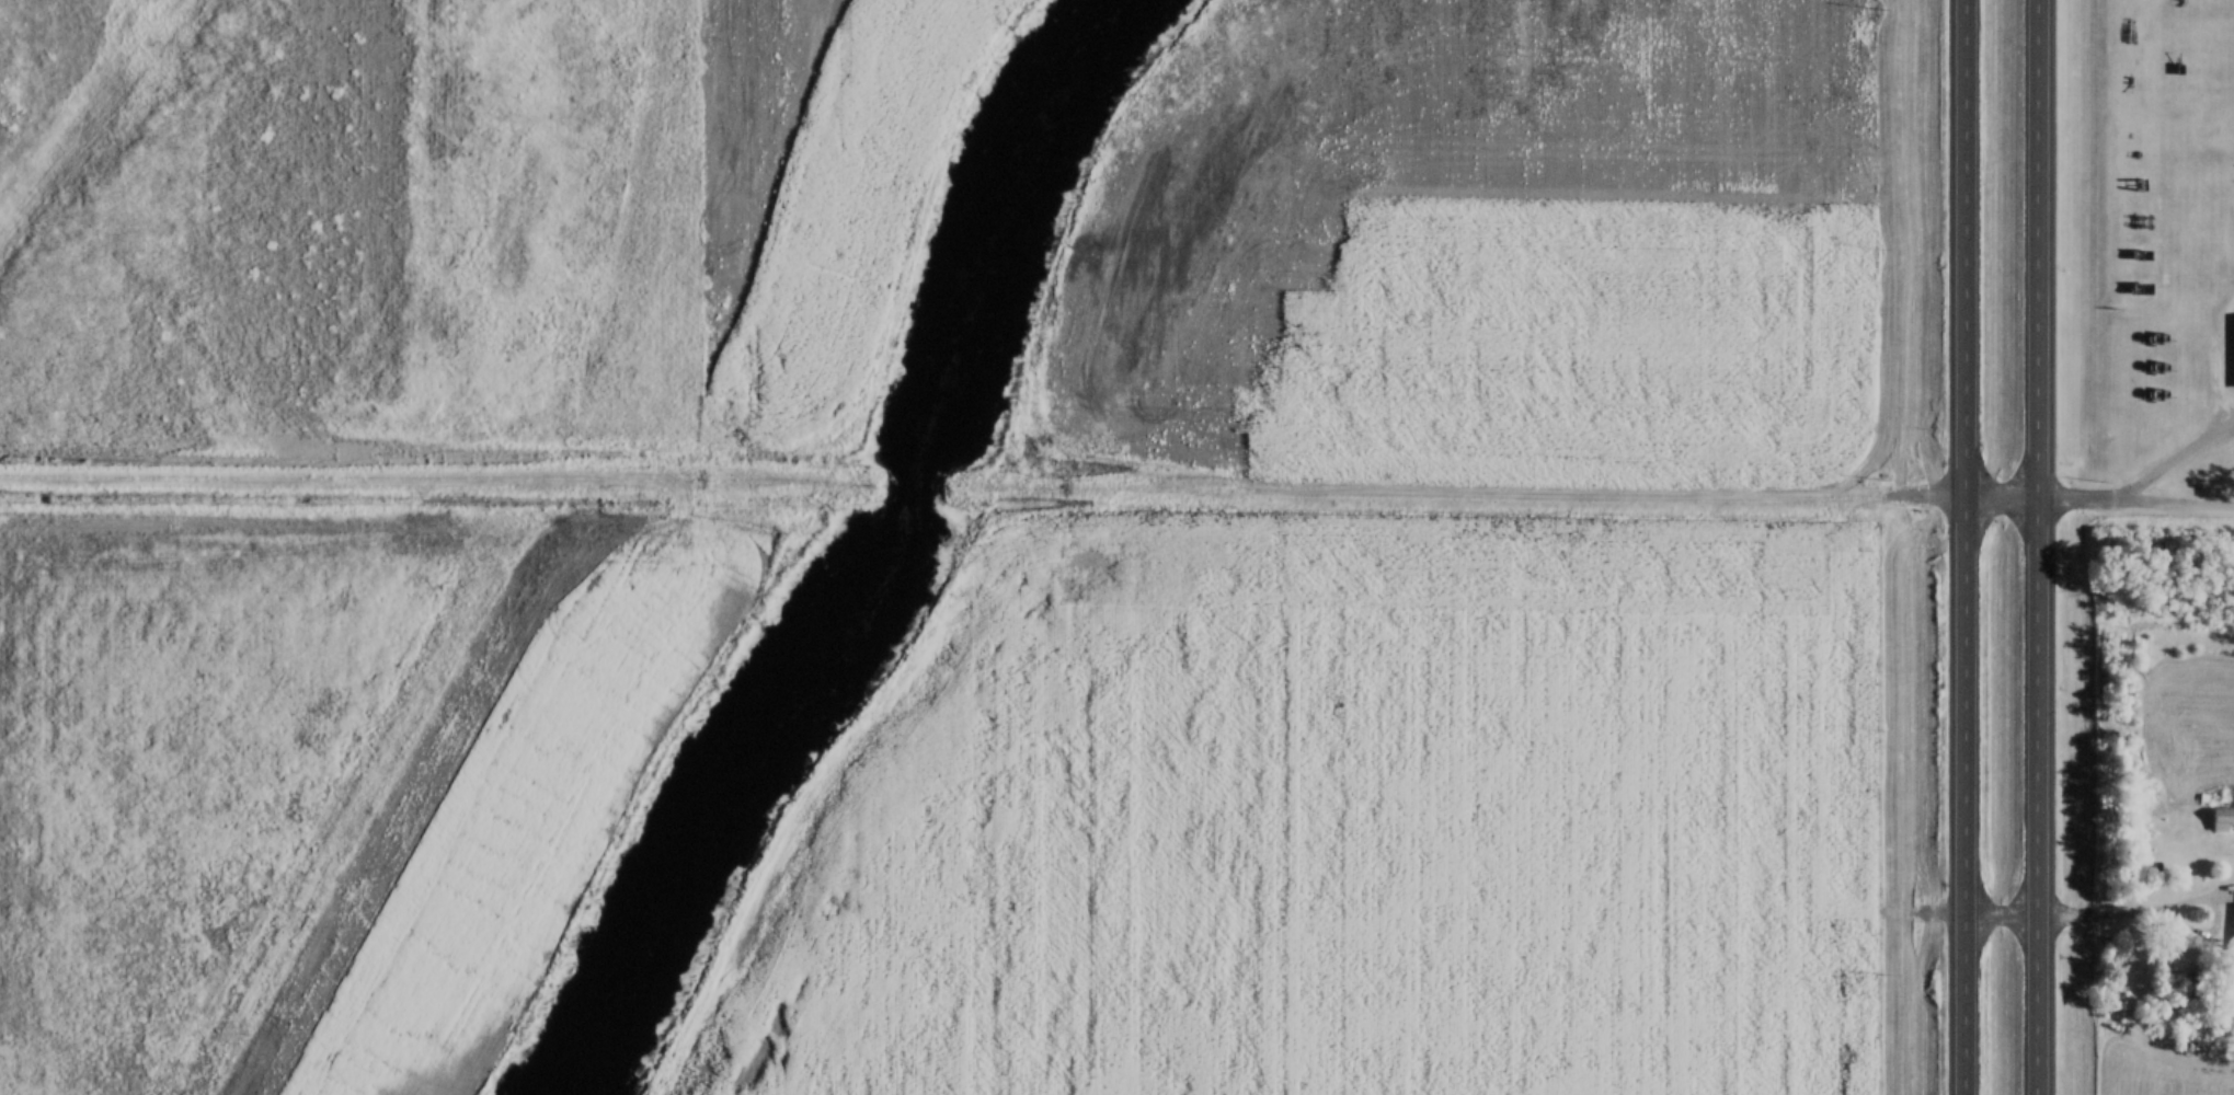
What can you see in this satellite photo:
road: (445, 484)
road: (912, 487)
road: (1446, 495)
road: (2097, 497)
road: (1961, 546)
road: (2035, 546)
river: (870, 554)
building: (2221, 818)
building: (2230, 898)

